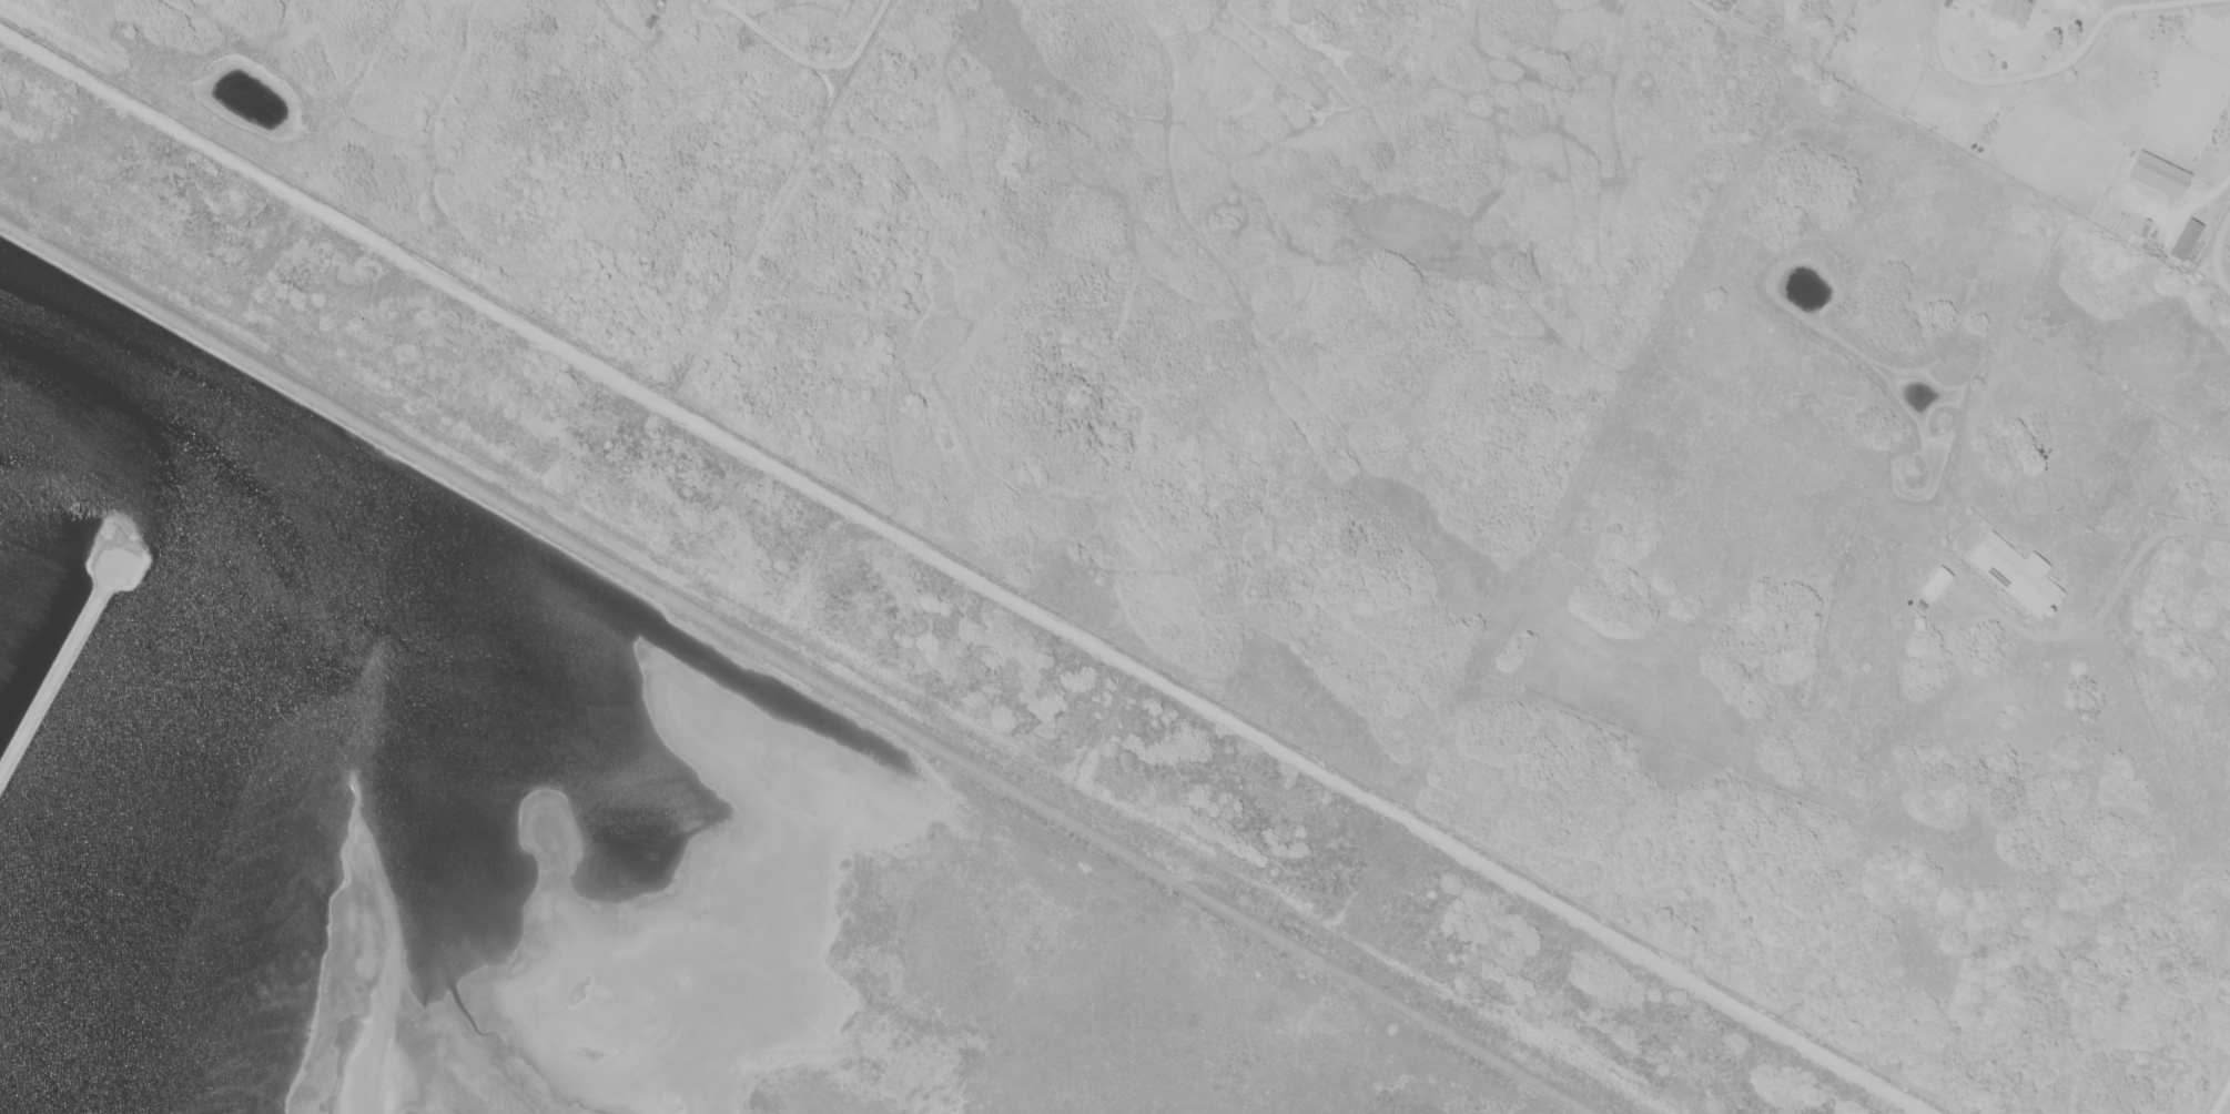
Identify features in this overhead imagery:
building: (2014, 9)
building: (2158, 174)
building: (2186, 239)
road: (964, 573)
building: (2015, 573)
building: (1936, 583)
road: (2112, 593)
road: (799, 666)
road: (57, 668)
power plant: (651, 749)

